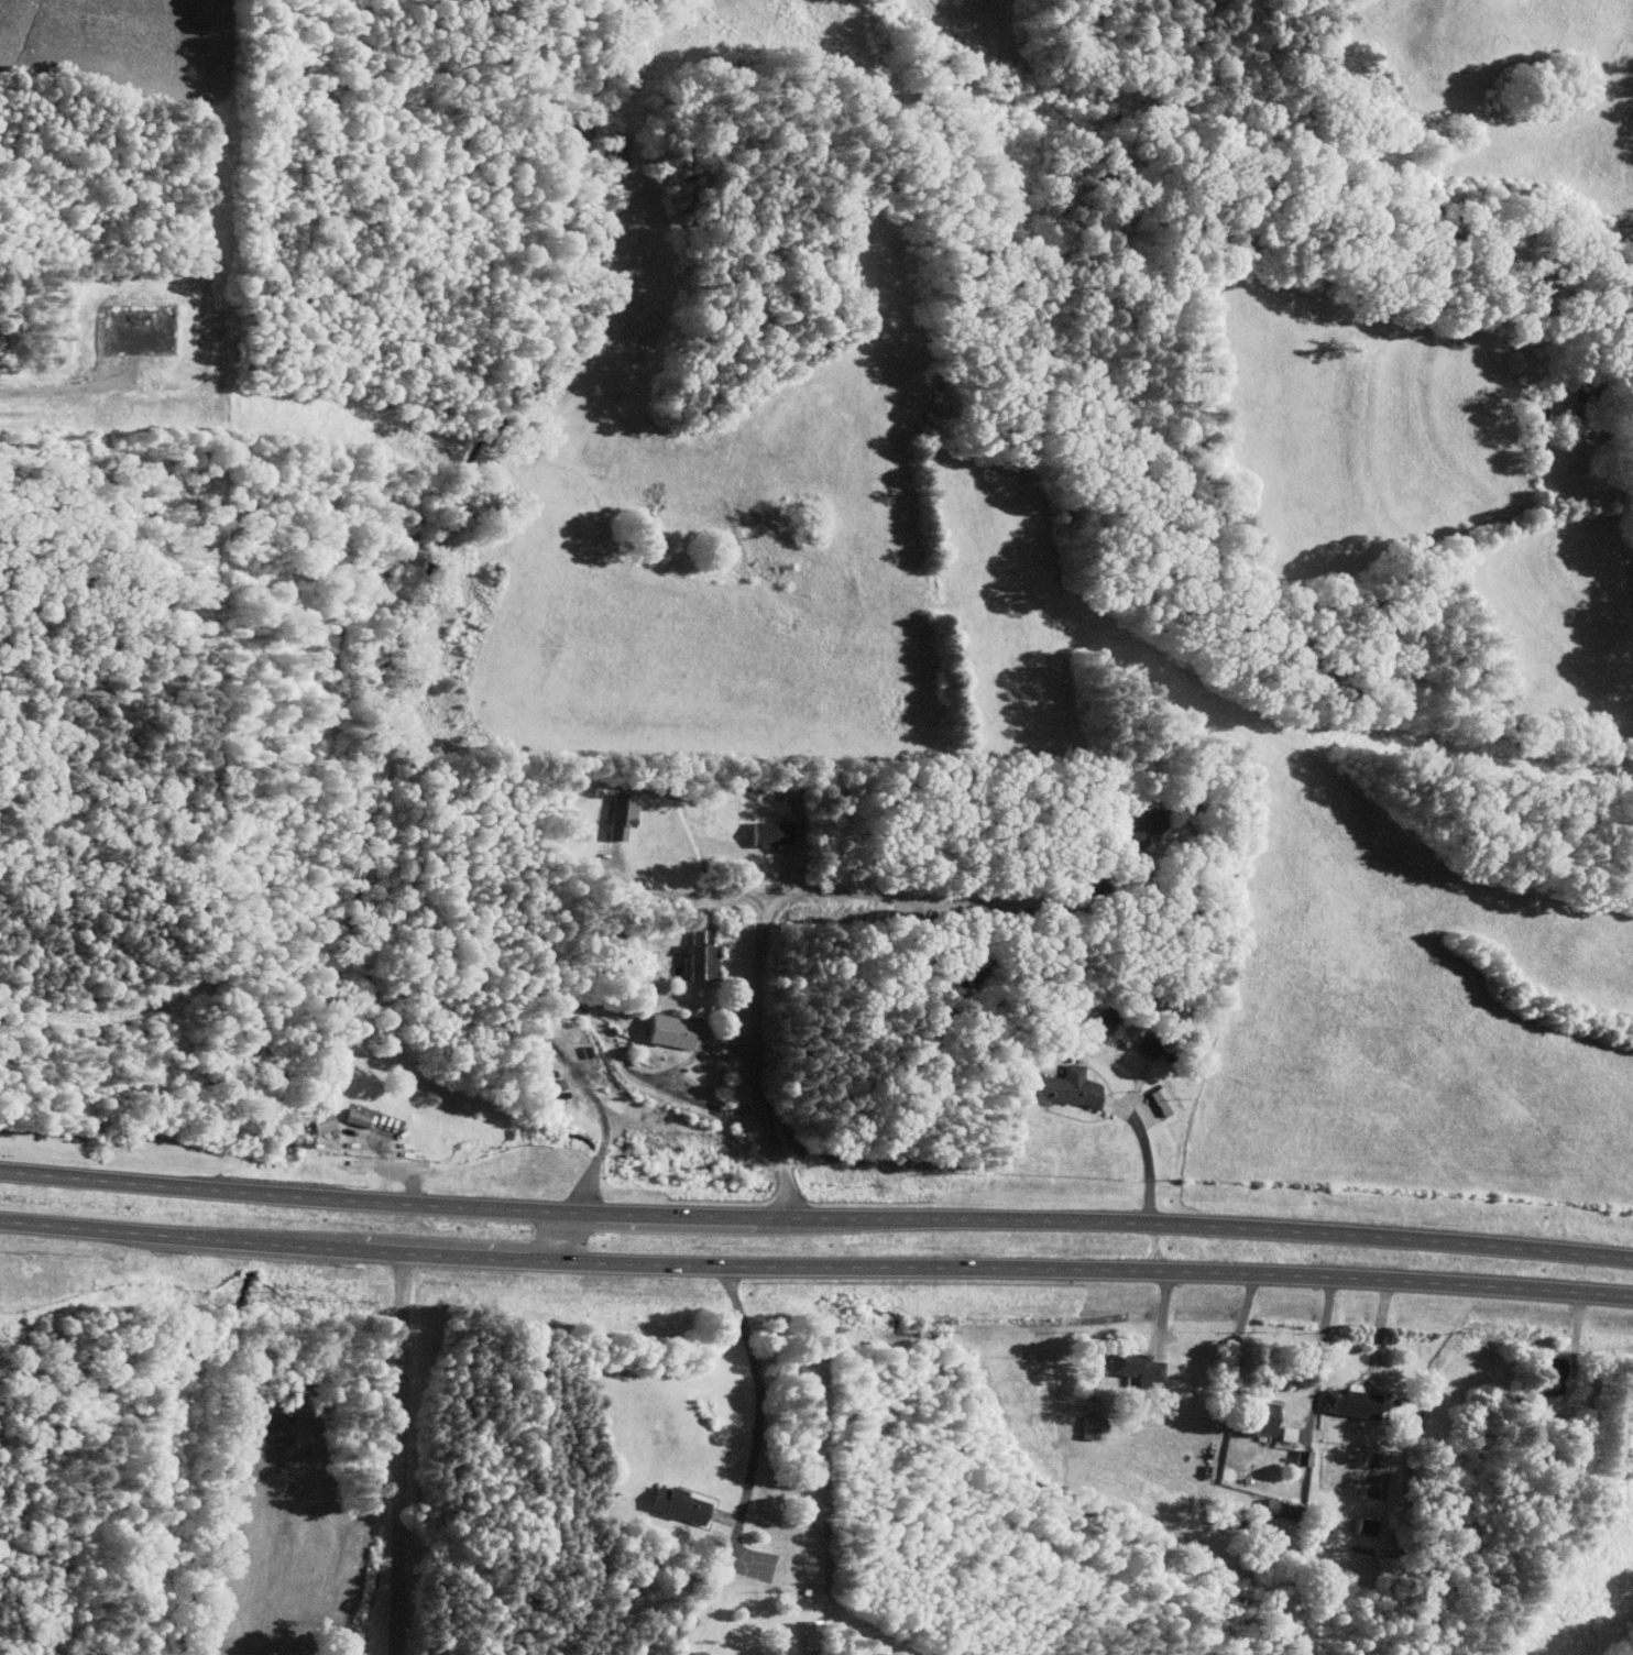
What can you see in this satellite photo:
building: (1554, 401)
building: (615, 816)
building: (1137, 832)
building: (764, 834)
road: (684, 892)
road: (766, 920)
building: (695, 954)
building: (651, 962)
building: (661, 1030)
building: (1146, 1046)
building: (1053, 1087)
building: (1158, 1100)
building: (351, 1118)
building: (320, 1122)
road: (1146, 1146)
road: (815, 1217)
road: (568, 1237)
road: (815, 1267)
road: (1317, 1357)
building: (1129, 1366)
building: (1545, 1375)
building: (1346, 1402)
building: (1256, 1418)
building: (1086, 1427)
building: (1283, 1434)
road: (402, 1454)
building: (1298, 1457)
building: (673, 1505)
building: (1275, 1509)
building: (1360, 1525)

